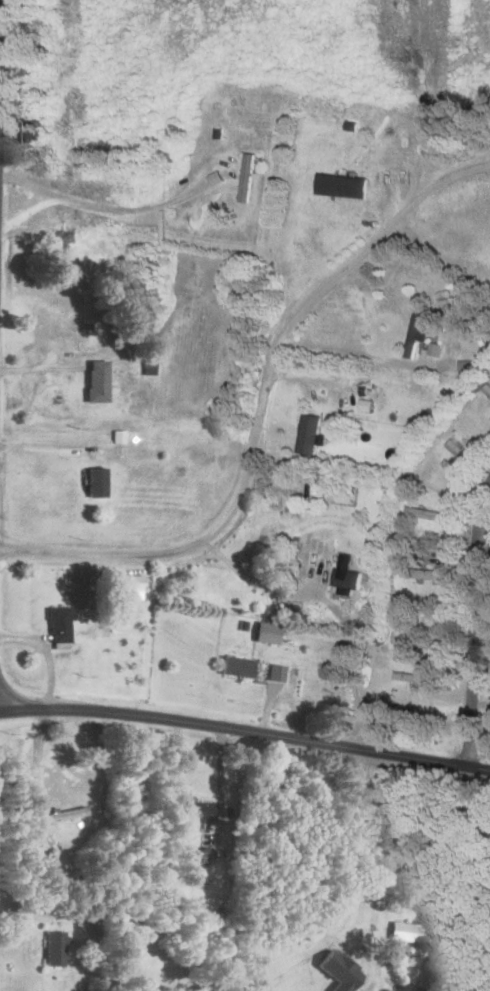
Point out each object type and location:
road: (1, 69)
road: (449, 177)
road: (32, 184)
building: (340, 185)
road: (135, 210)
road: (32, 213)
building: (59, 236)
building: (415, 333)
building: (95, 381)
building: (364, 405)
road: (264, 406)
building: (308, 434)
building: (118, 436)
road: (58, 448)
building: (95, 482)
road: (479, 517)
road: (483, 549)
building: (429, 574)
building: (346, 580)
road: (255, 584)
building: (129, 587)
building: (289, 612)
building: (57, 624)
building: (265, 632)
road: (48, 655)
road: (474, 658)
building: (235, 667)
building: (275, 673)
road: (245, 731)
road: (36, 759)
road: (220, 784)
building: (195, 811)
road: (410, 841)
road: (367, 857)
road: (41, 912)
building: (408, 933)
building: (53, 948)

